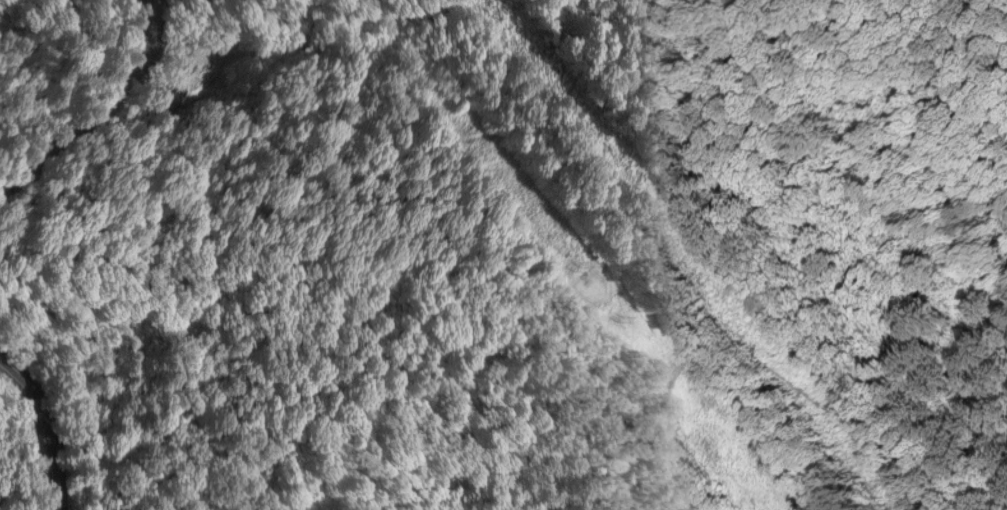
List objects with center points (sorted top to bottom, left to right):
road: (99, 108)
road: (48, 425)

